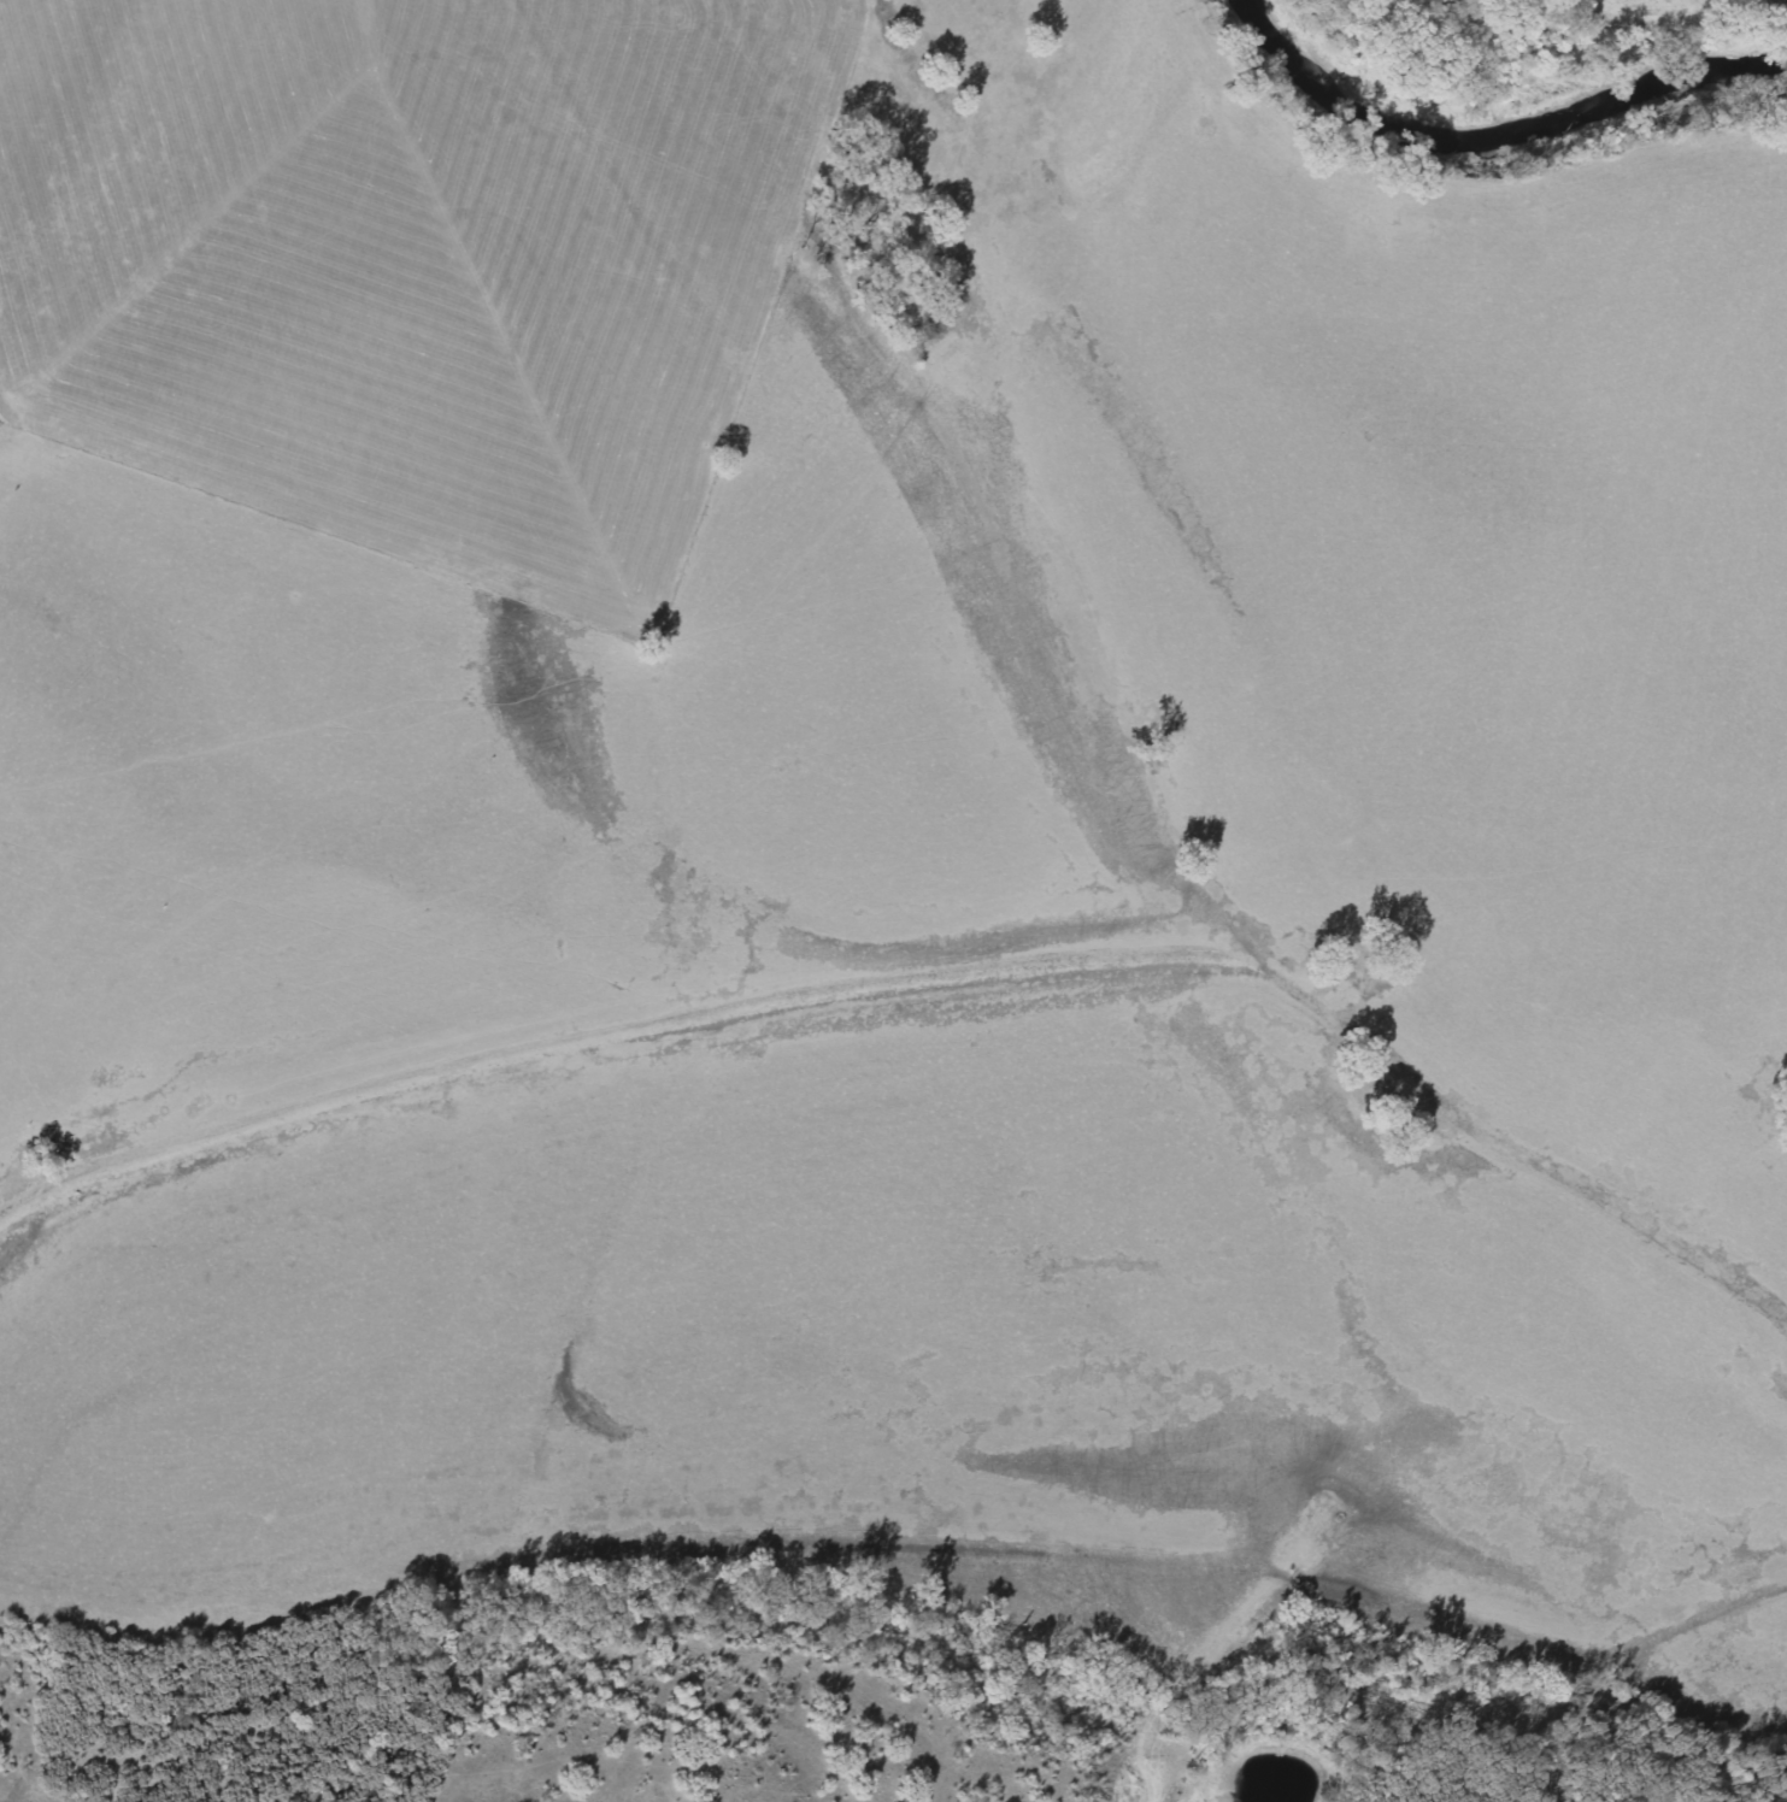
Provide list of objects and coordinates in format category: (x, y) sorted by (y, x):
road: (1240, 1743)

